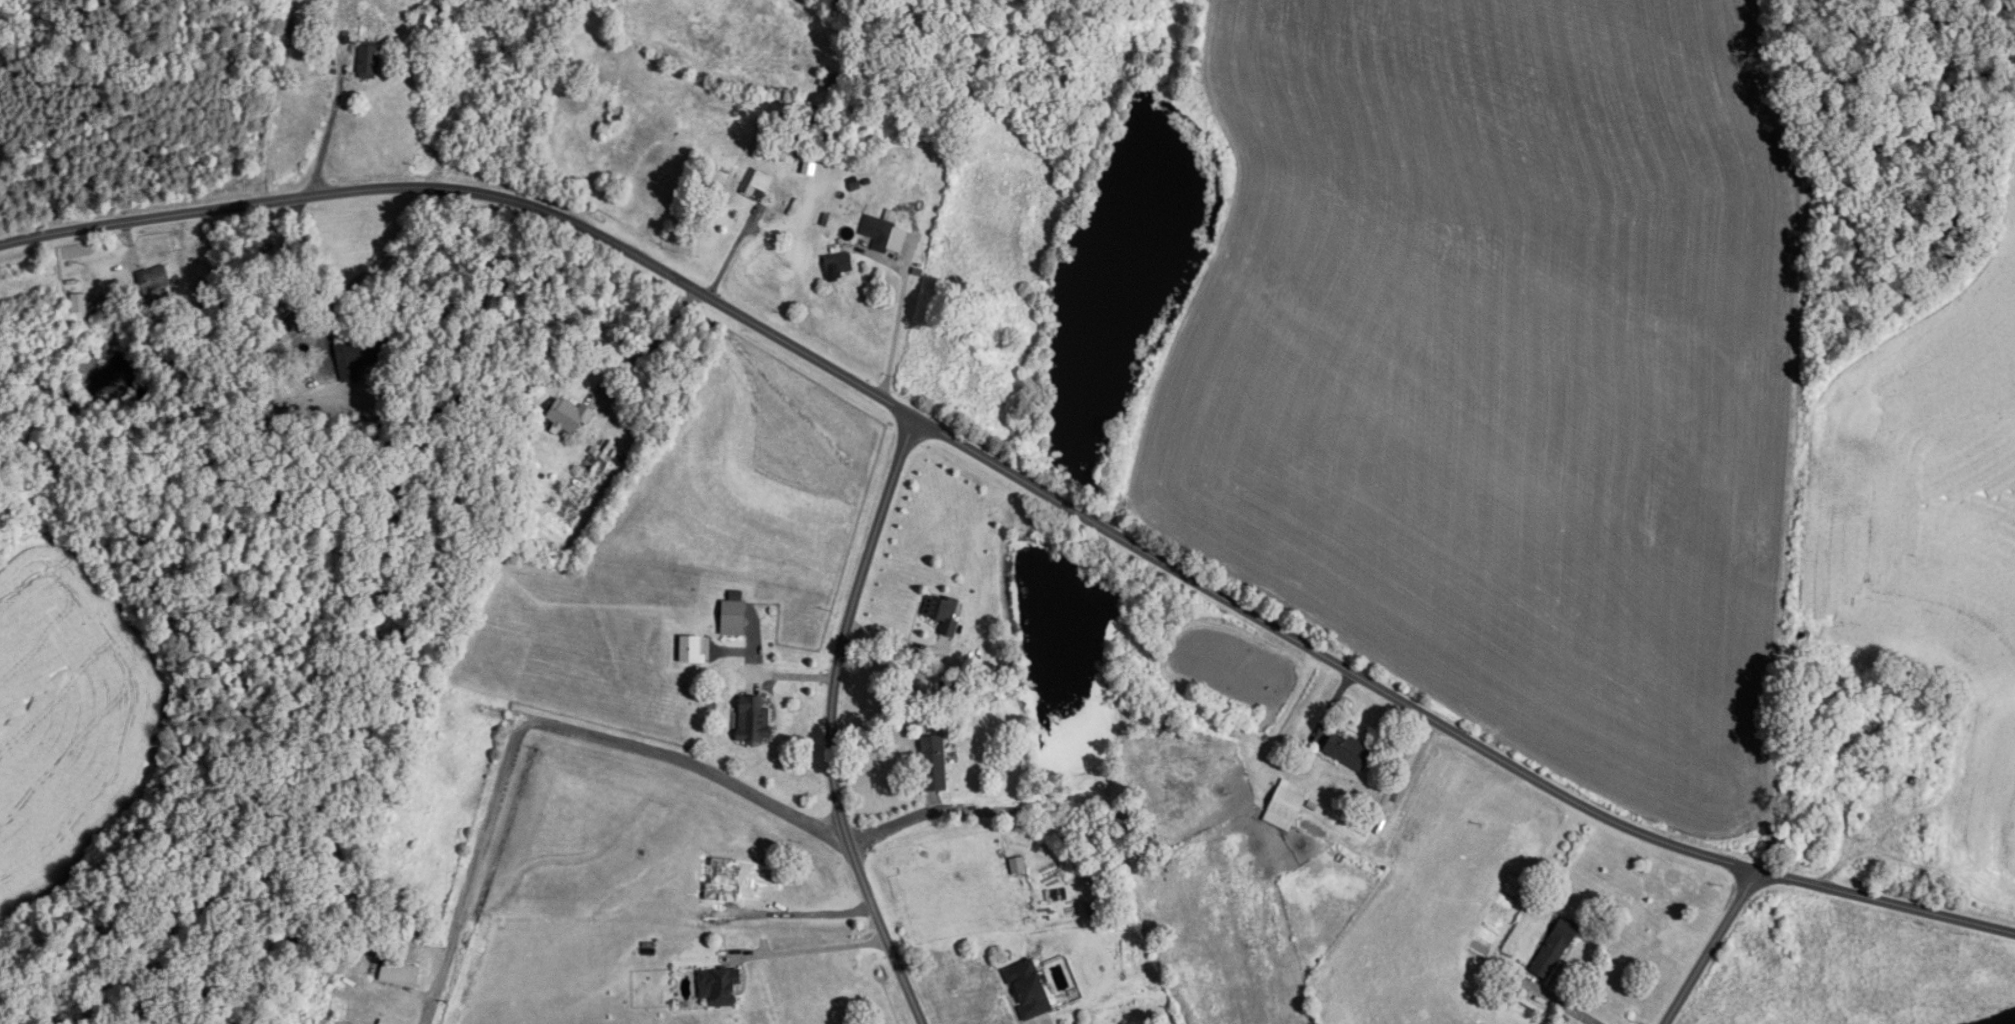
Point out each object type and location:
building: (369, 62)
building: (831, 81)
building: (617, 113)
road: (329, 127)
building: (802, 132)
building: (759, 184)
building: (863, 185)
building: (879, 229)
road: (732, 251)
building: (839, 263)
road: (309, 276)
building: (155, 280)
road: (897, 326)
road: (653, 348)
building: (360, 356)
building: (569, 415)
road: (1022, 480)
building: (943, 612)
building: (734, 618)
building: (754, 720)
road: (831, 722)
road: (538, 723)
building: (1350, 751)
building: (935, 764)
building: (1287, 805)
building: (1556, 948)
road: (1711, 948)
road: (809, 950)
building: (400, 974)
building: (720, 987)
building: (1029, 990)
road: (1564, 1007)
road: (1042, 1022)

